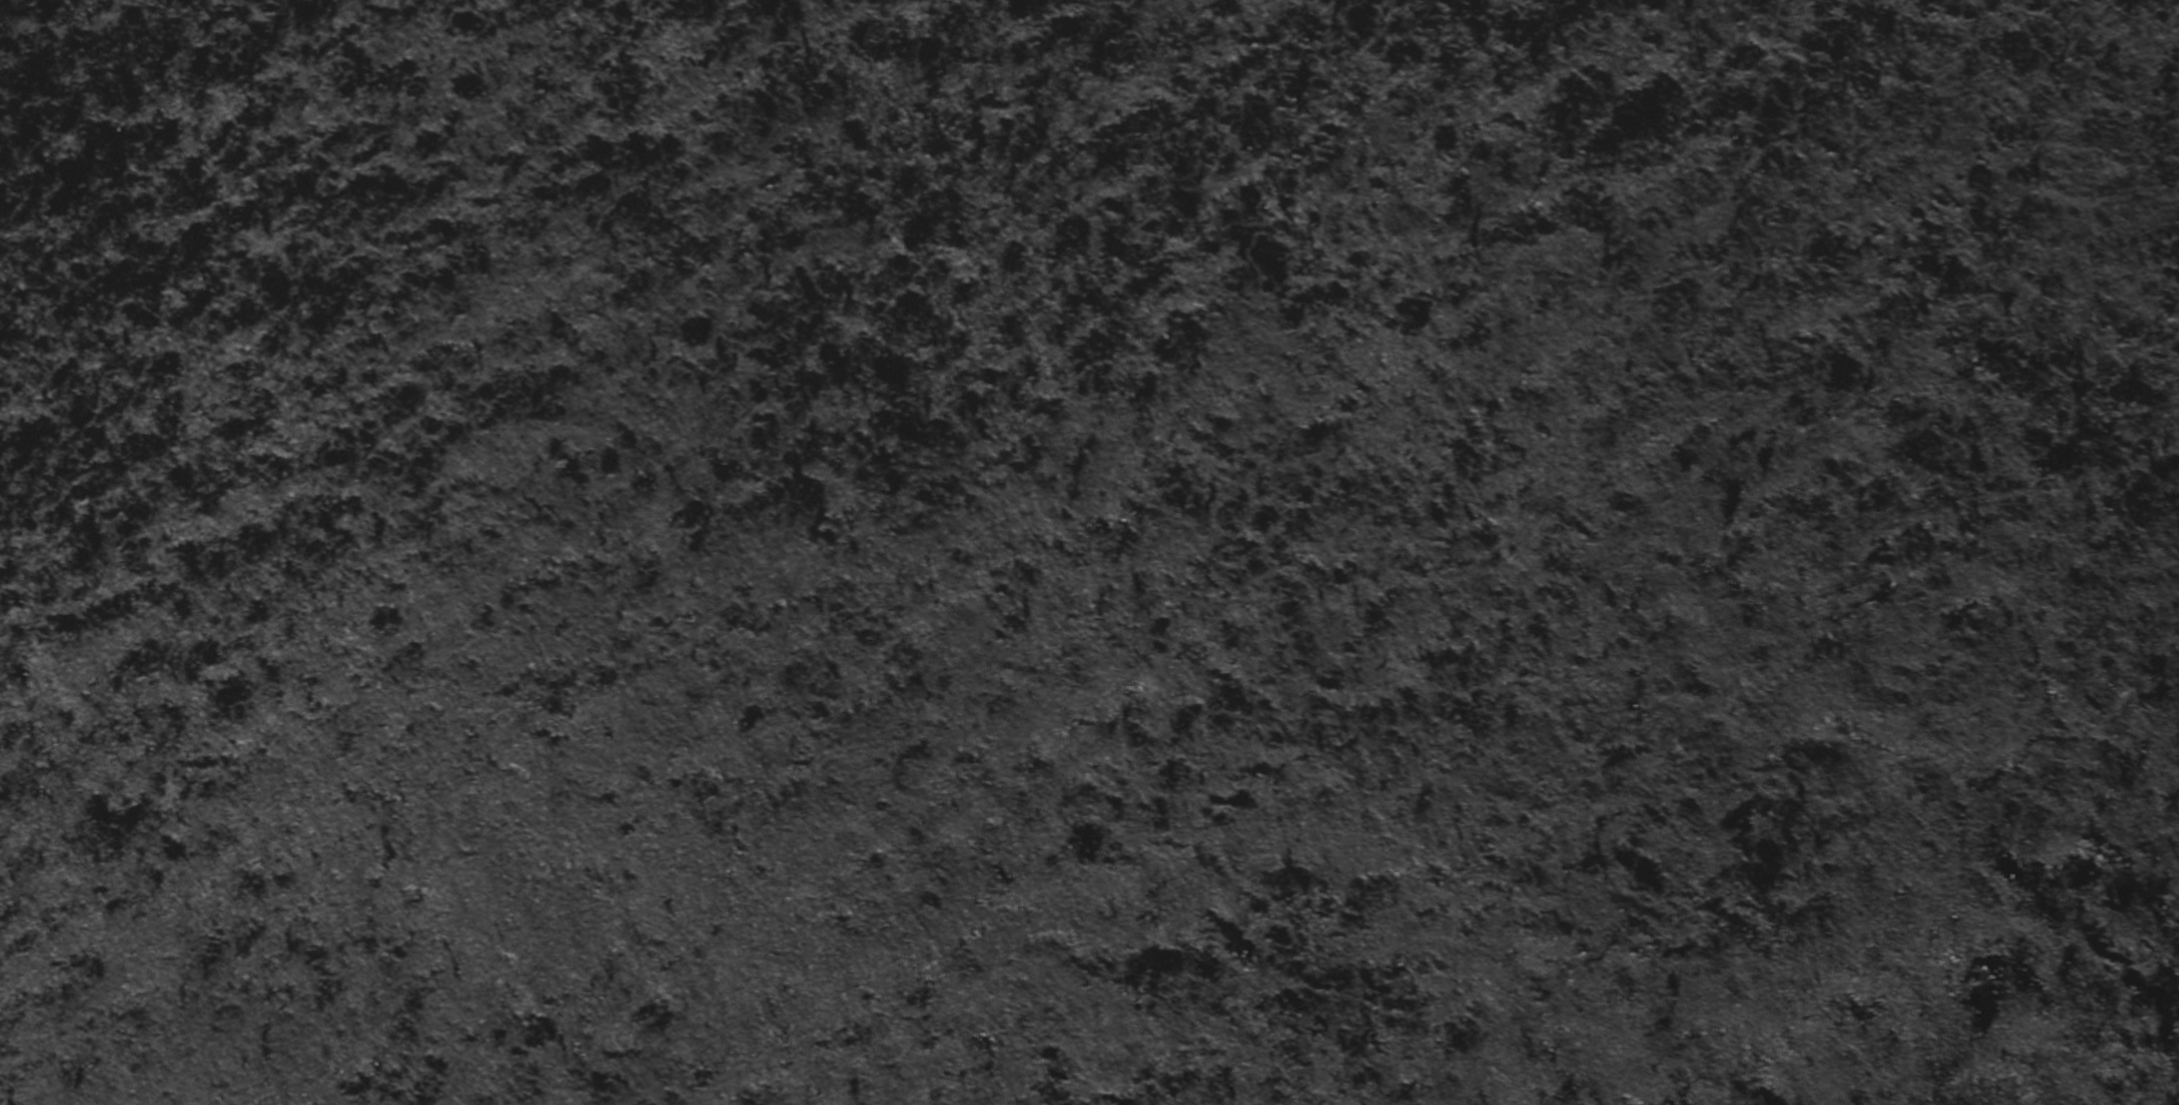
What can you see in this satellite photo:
river: (1004, 597)
river: (1262, 899)

